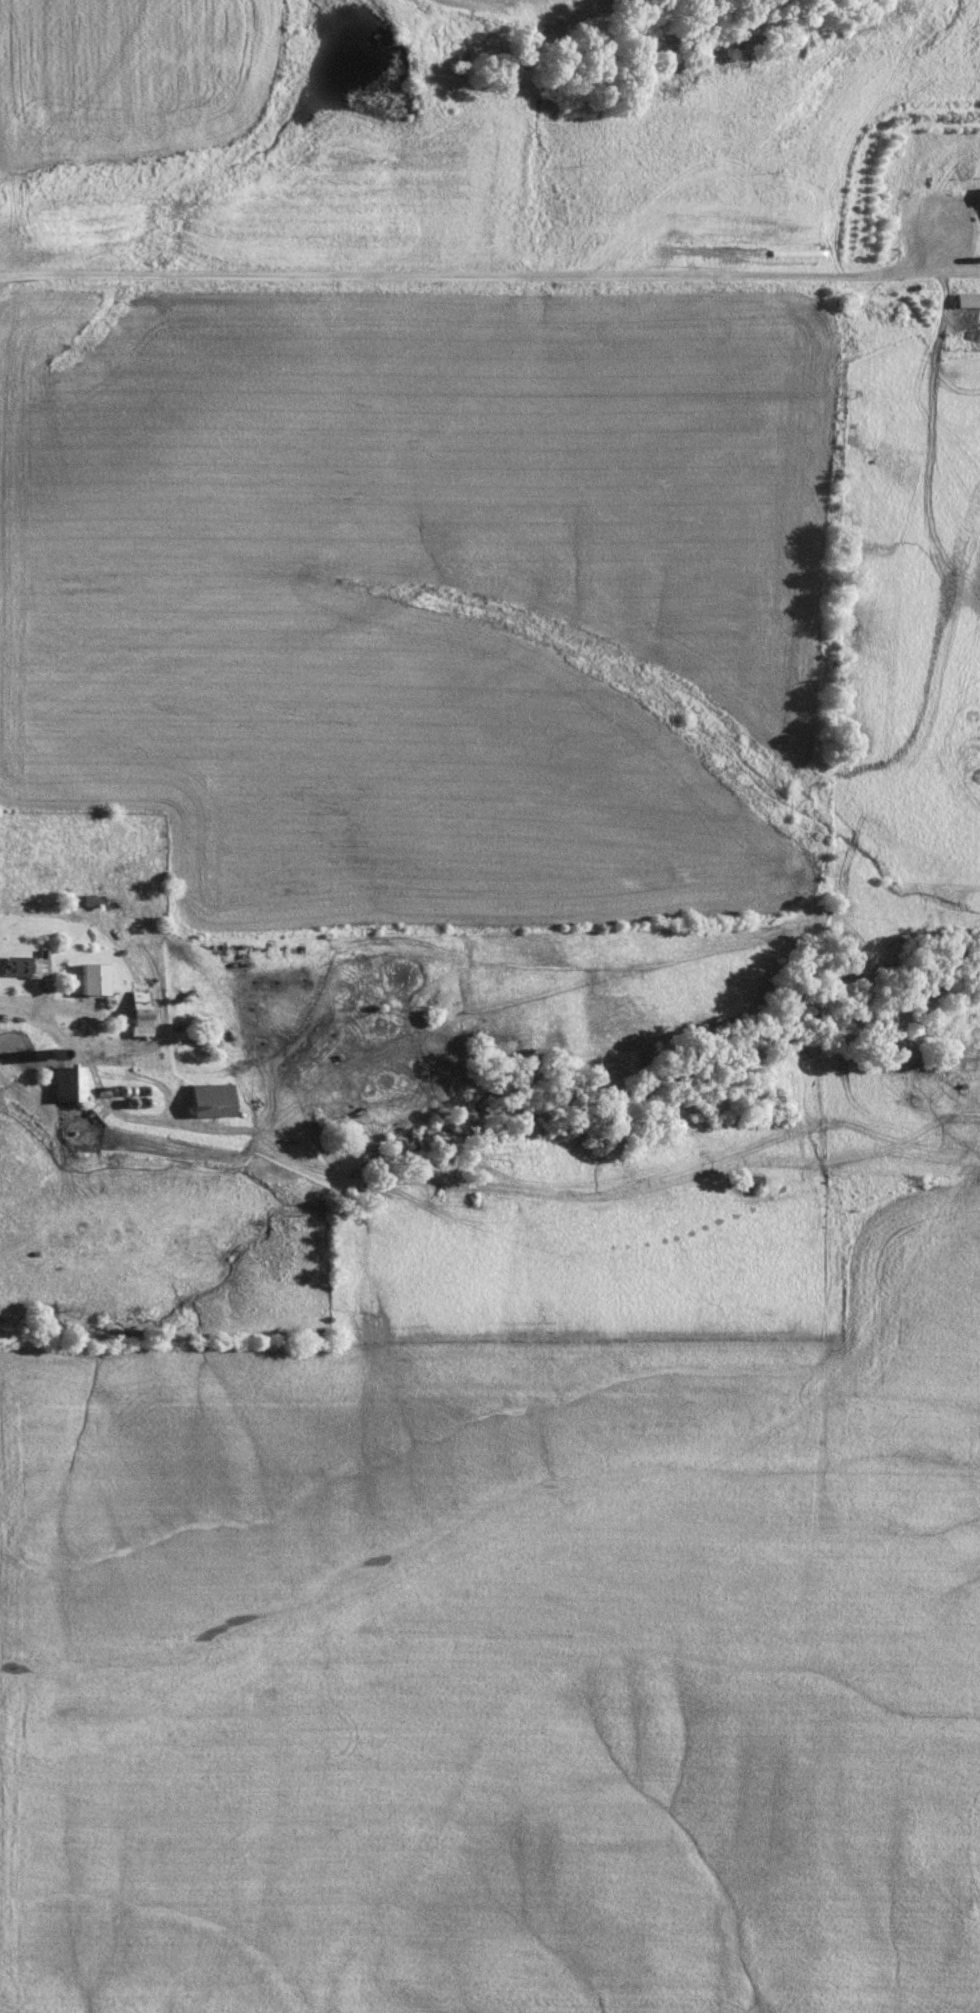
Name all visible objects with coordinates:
building: (968, 299)
building: (92, 979)
building: (138, 1013)
road: (97, 1074)
building: (69, 1083)
building: (210, 1100)

